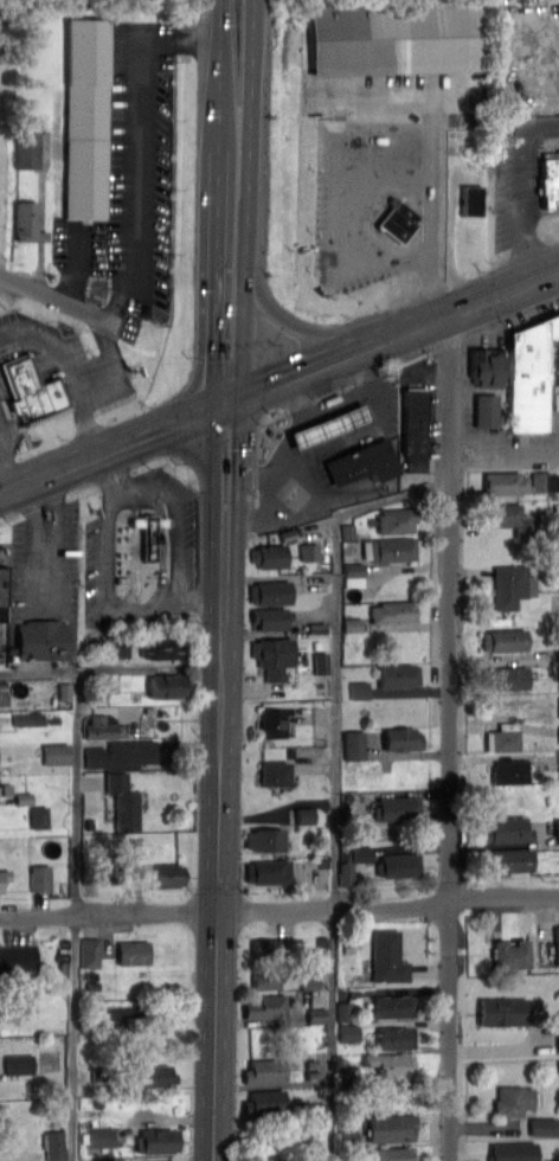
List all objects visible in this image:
building: (393, 36)
road: (220, 72)
building: (85, 118)
road: (539, 123)
park: (7, 130)
building: (456, 137)
road: (135, 140)
building: (28, 148)
road: (535, 179)
parking lot: (521, 180)
building: (550, 185)
parking lot: (127, 186)
road: (345, 193)
road: (249, 201)
parking lot: (377, 201)
building: (471, 201)
road: (432, 206)
road: (522, 207)
building: (26, 220)
building: (400, 223)
road: (451, 236)
road: (555, 242)
road: (528, 254)
road: (77, 265)
road: (487, 270)
road: (217, 274)
road: (439, 289)
road: (65, 302)
road: (378, 312)
road: (513, 315)
road: (288, 326)
road: (54, 342)
road: (448, 342)
road: (28, 344)
road: (413, 358)
parking lot: (69, 365)
building: (491, 366)
road: (116, 370)
building: (534, 370)
road: (375, 373)
road: (278, 380)
road: (333, 391)
building: (34, 392)
road: (336, 402)
road: (298, 404)
building: (487, 408)
road: (11, 413)
road: (40, 421)
parking lot: (7, 422)
building: (332, 424)
building: (413, 424)
road: (85, 425)
road: (259, 425)
road: (6, 434)
parking lot: (514, 442)
road: (320, 447)
road: (505, 449)
parking lot: (334, 454)
building: (364, 461)
road: (8, 467)
road: (122, 469)
road: (256, 474)
road: (105, 476)
building: (545, 480)
building: (507, 481)
building: (553, 494)
road: (256, 495)
road: (225, 503)
road: (293, 505)
road: (108, 506)
building: (557, 511)
road: (253, 517)
building: (396, 519)
building: (514, 519)
building: (347, 530)
building: (149, 532)
building: (287, 532)
road: (47, 545)
building: (397, 547)
building: (366, 549)
building: (309, 550)
building: (269, 553)
parking lot: (141, 554)
building: (323, 556)
road: (4, 558)
building: (354, 573)
road: (244, 580)
parking lot: (44, 583)
building: (510, 584)
building: (271, 591)
building: (5, 594)
parking lot: (5, 599)
road: (197, 602)
building: (554, 603)
building: (394, 610)
building: (271, 616)
building: (352, 623)
building: (315, 628)
road: (1, 636)
road: (221, 637)
building: (507, 637)
building: (40, 639)
building: (314, 643)
building: (122, 646)
building: (159, 647)
building: (274, 654)
building: (321, 661)
road: (110, 668)
building: (401, 674)
building: (513, 675)
building: (167, 685)
building: (359, 688)
building: (65, 693)
building: (558, 705)
building: (30, 718)
building: (275, 720)
building: (98, 727)
building: (558, 732)
building: (505, 736)
building: (405, 737)
road: (449, 737)
building: (353, 743)
building: (57, 752)
building: (120, 753)
building: (509, 770)
building: (277, 771)
road: (335, 781)
building: (0, 790)
road: (77, 791)
building: (123, 801)
building: (400, 806)
building: (301, 813)
building: (39, 815)
building: (510, 828)
building: (557, 828)
building: (265, 838)
building: (362, 852)
building: (513, 858)
building: (401, 862)
building: (268, 870)
building: (345, 871)
building: (162, 874)
building: (4, 875)
building: (40, 877)
road: (279, 910)
road: (216, 913)
building: (346, 947)
building: (266, 949)
building: (90, 951)
building: (133, 951)
building: (510, 952)
building: (387, 955)
building: (18, 957)
building: (266, 977)
building: (268, 1005)
building: (393, 1005)
building: (342, 1009)
building: (502, 1009)
building: (127, 1011)
building: (316, 1013)
building: (348, 1031)
building: (394, 1035)
road: (75, 1037)
building: (310, 1061)
building: (20, 1063)
building: (391, 1063)
building: (558, 1064)
building: (266, 1069)
building: (311, 1072)
building: (345, 1073)
building: (156, 1075)
building: (514, 1098)
building: (268, 1101)
building: (542, 1125)
building: (393, 1127)
building: (97, 1135)
building: (156, 1140)
building: (53, 1144)
building: (514, 1150)
building: (393, 1153)
building: (32, 1160)
building: (165, 1160)

